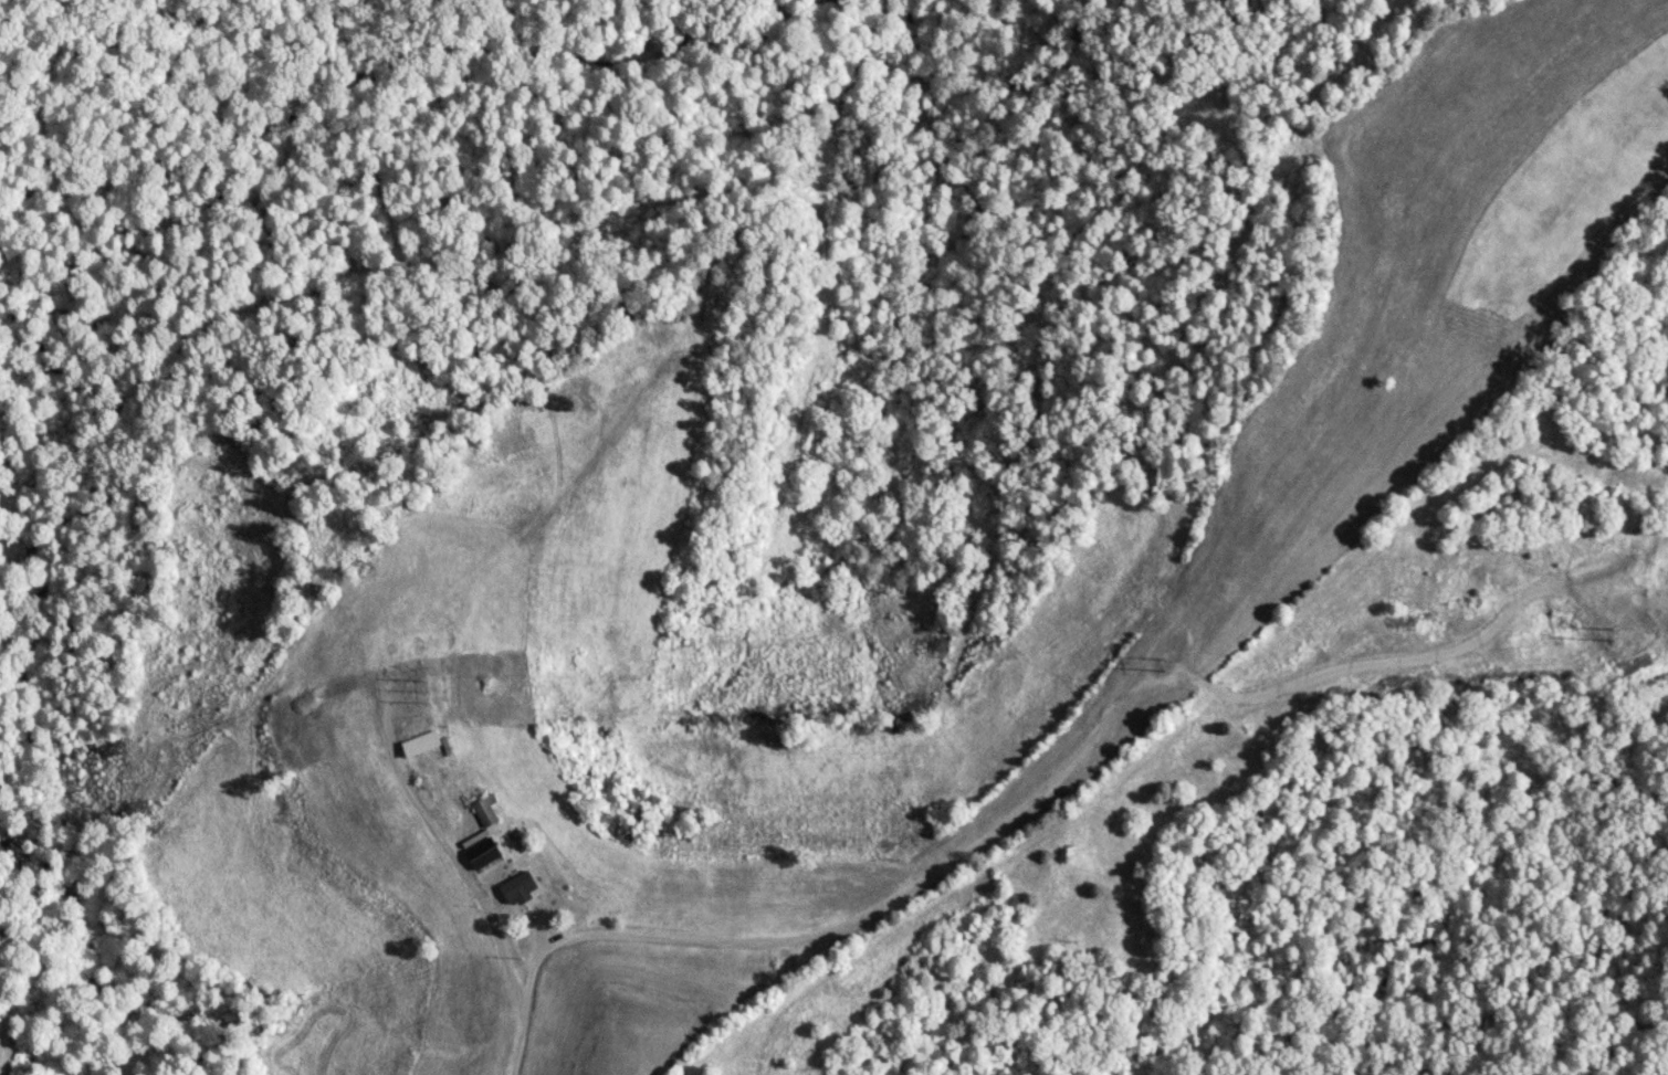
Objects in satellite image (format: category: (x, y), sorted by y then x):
building: (660, 333)
building: (421, 744)
building: (448, 807)
building: (485, 811)
building: (483, 853)
building: (520, 888)
road: (526, 1010)

